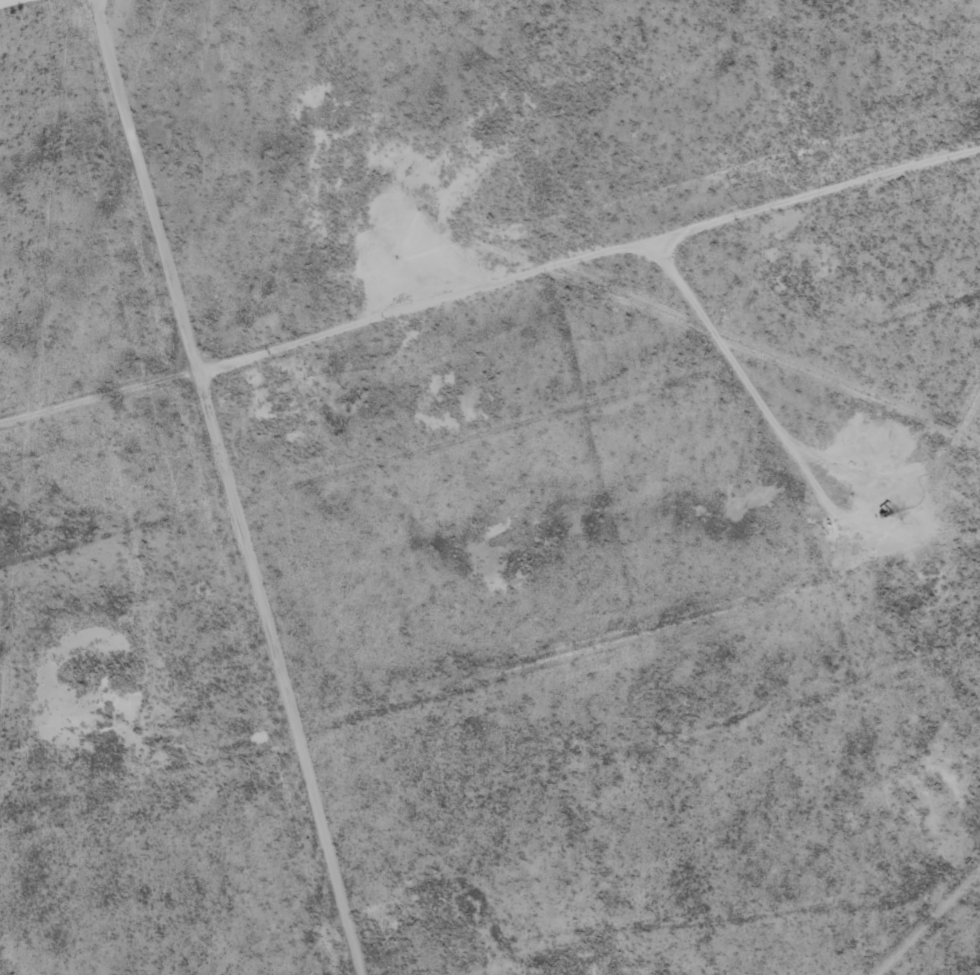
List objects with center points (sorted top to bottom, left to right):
road: (23, 6)
road: (168, 489)

